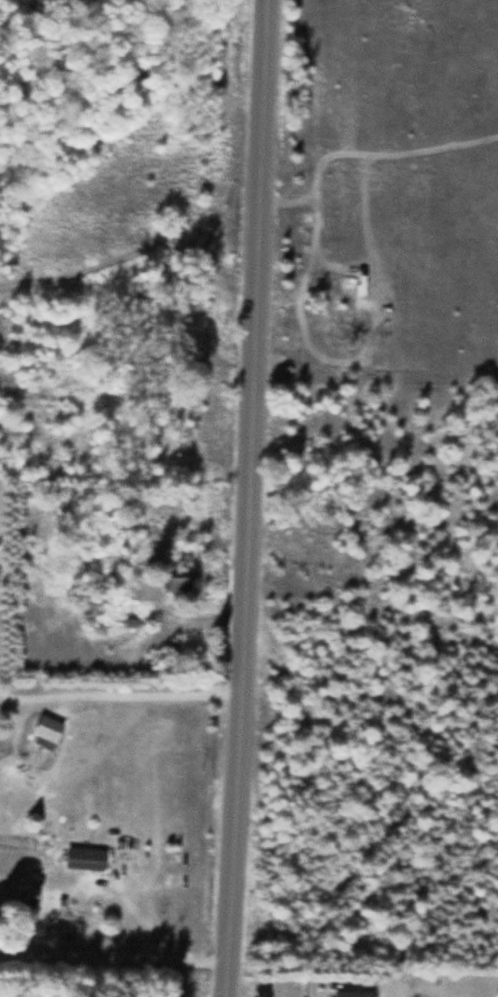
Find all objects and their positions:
building: (335, 319)
road: (254, 498)
building: (179, 579)
building: (196, 636)
building: (47, 727)
building: (86, 857)
building: (37, 895)
building: (354, 993)

